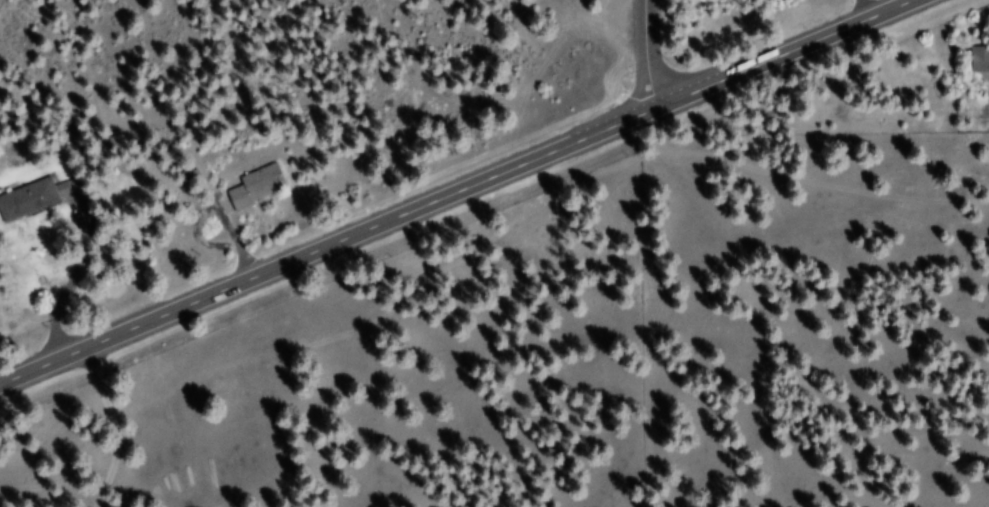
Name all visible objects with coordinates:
road: (634, 57)
building: (980, 61)
building: (257, 187)
road: (455, 195)
building: (28, 201)

